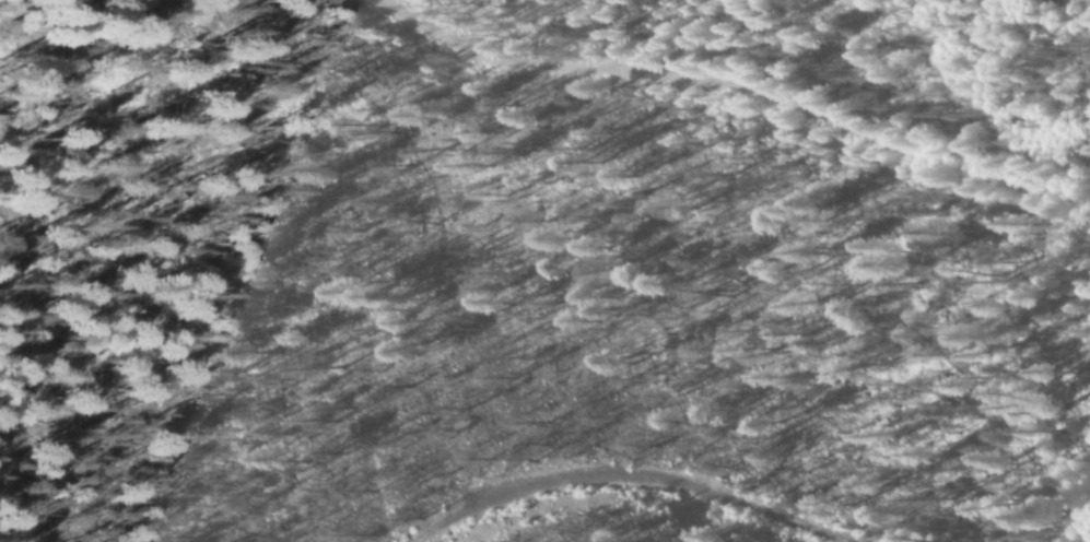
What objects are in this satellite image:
road: (725, 89)

